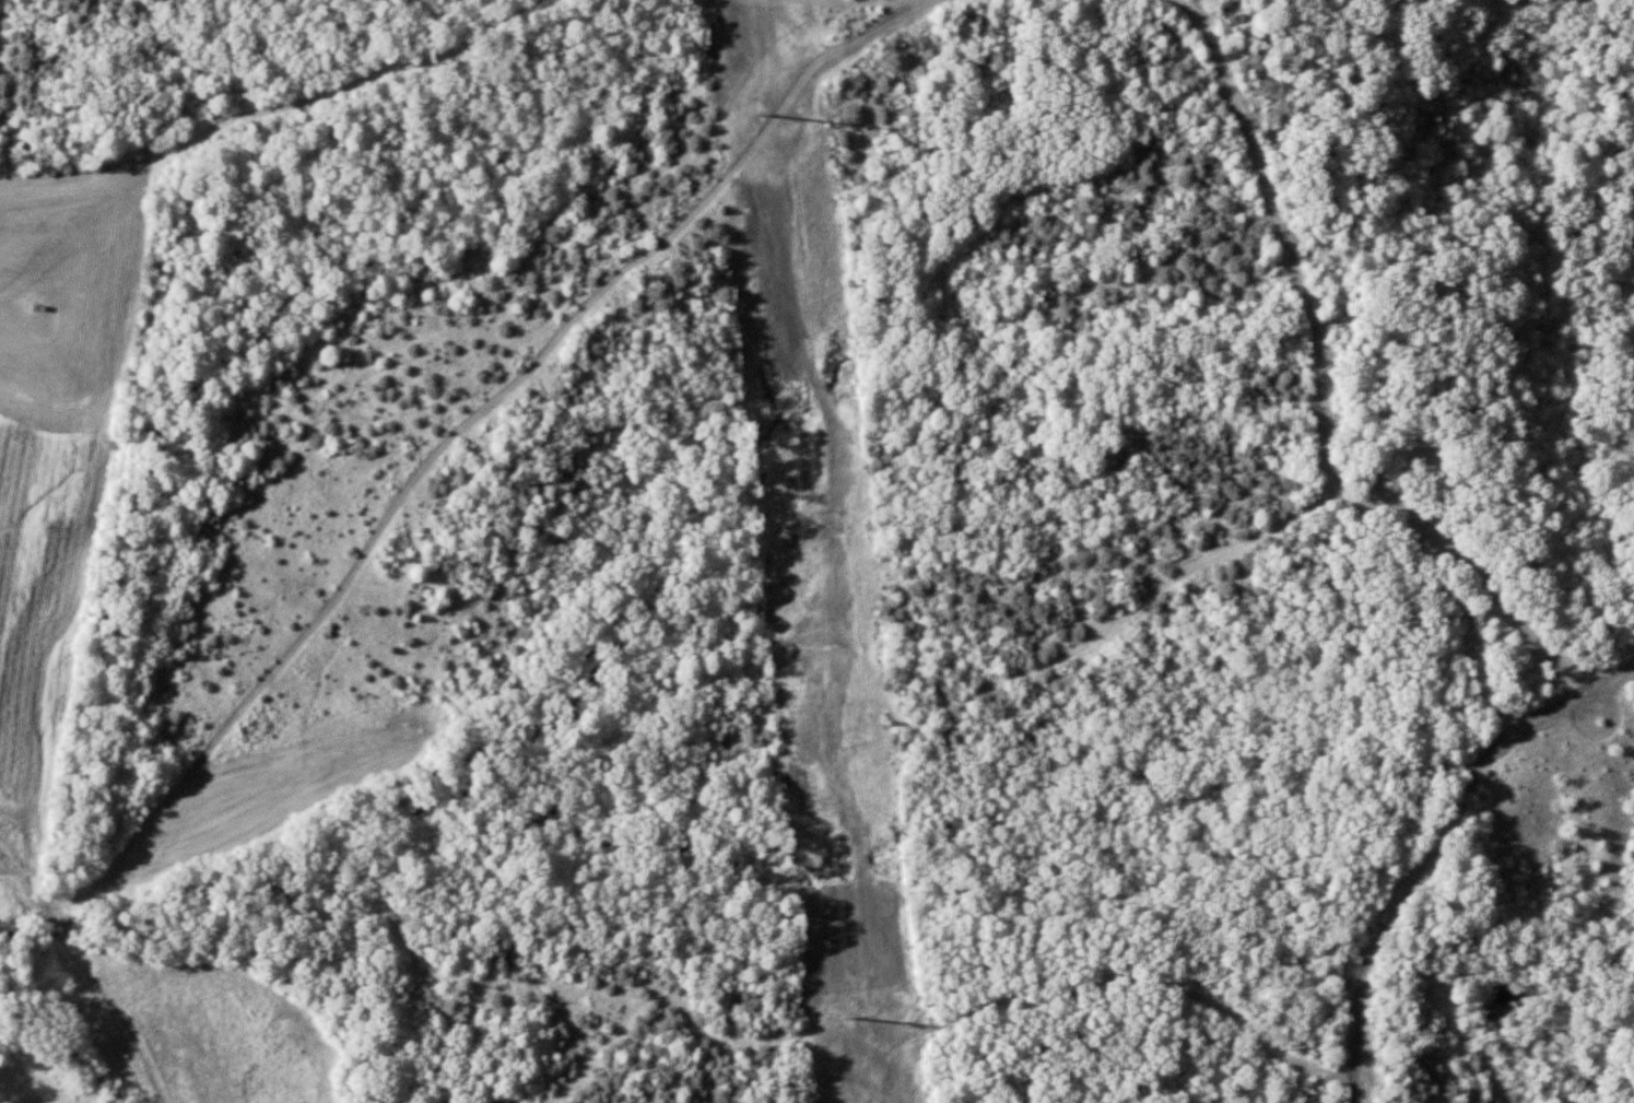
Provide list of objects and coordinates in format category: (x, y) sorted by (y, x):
power tower: (762, 115)
power tower: (849, 1018)

